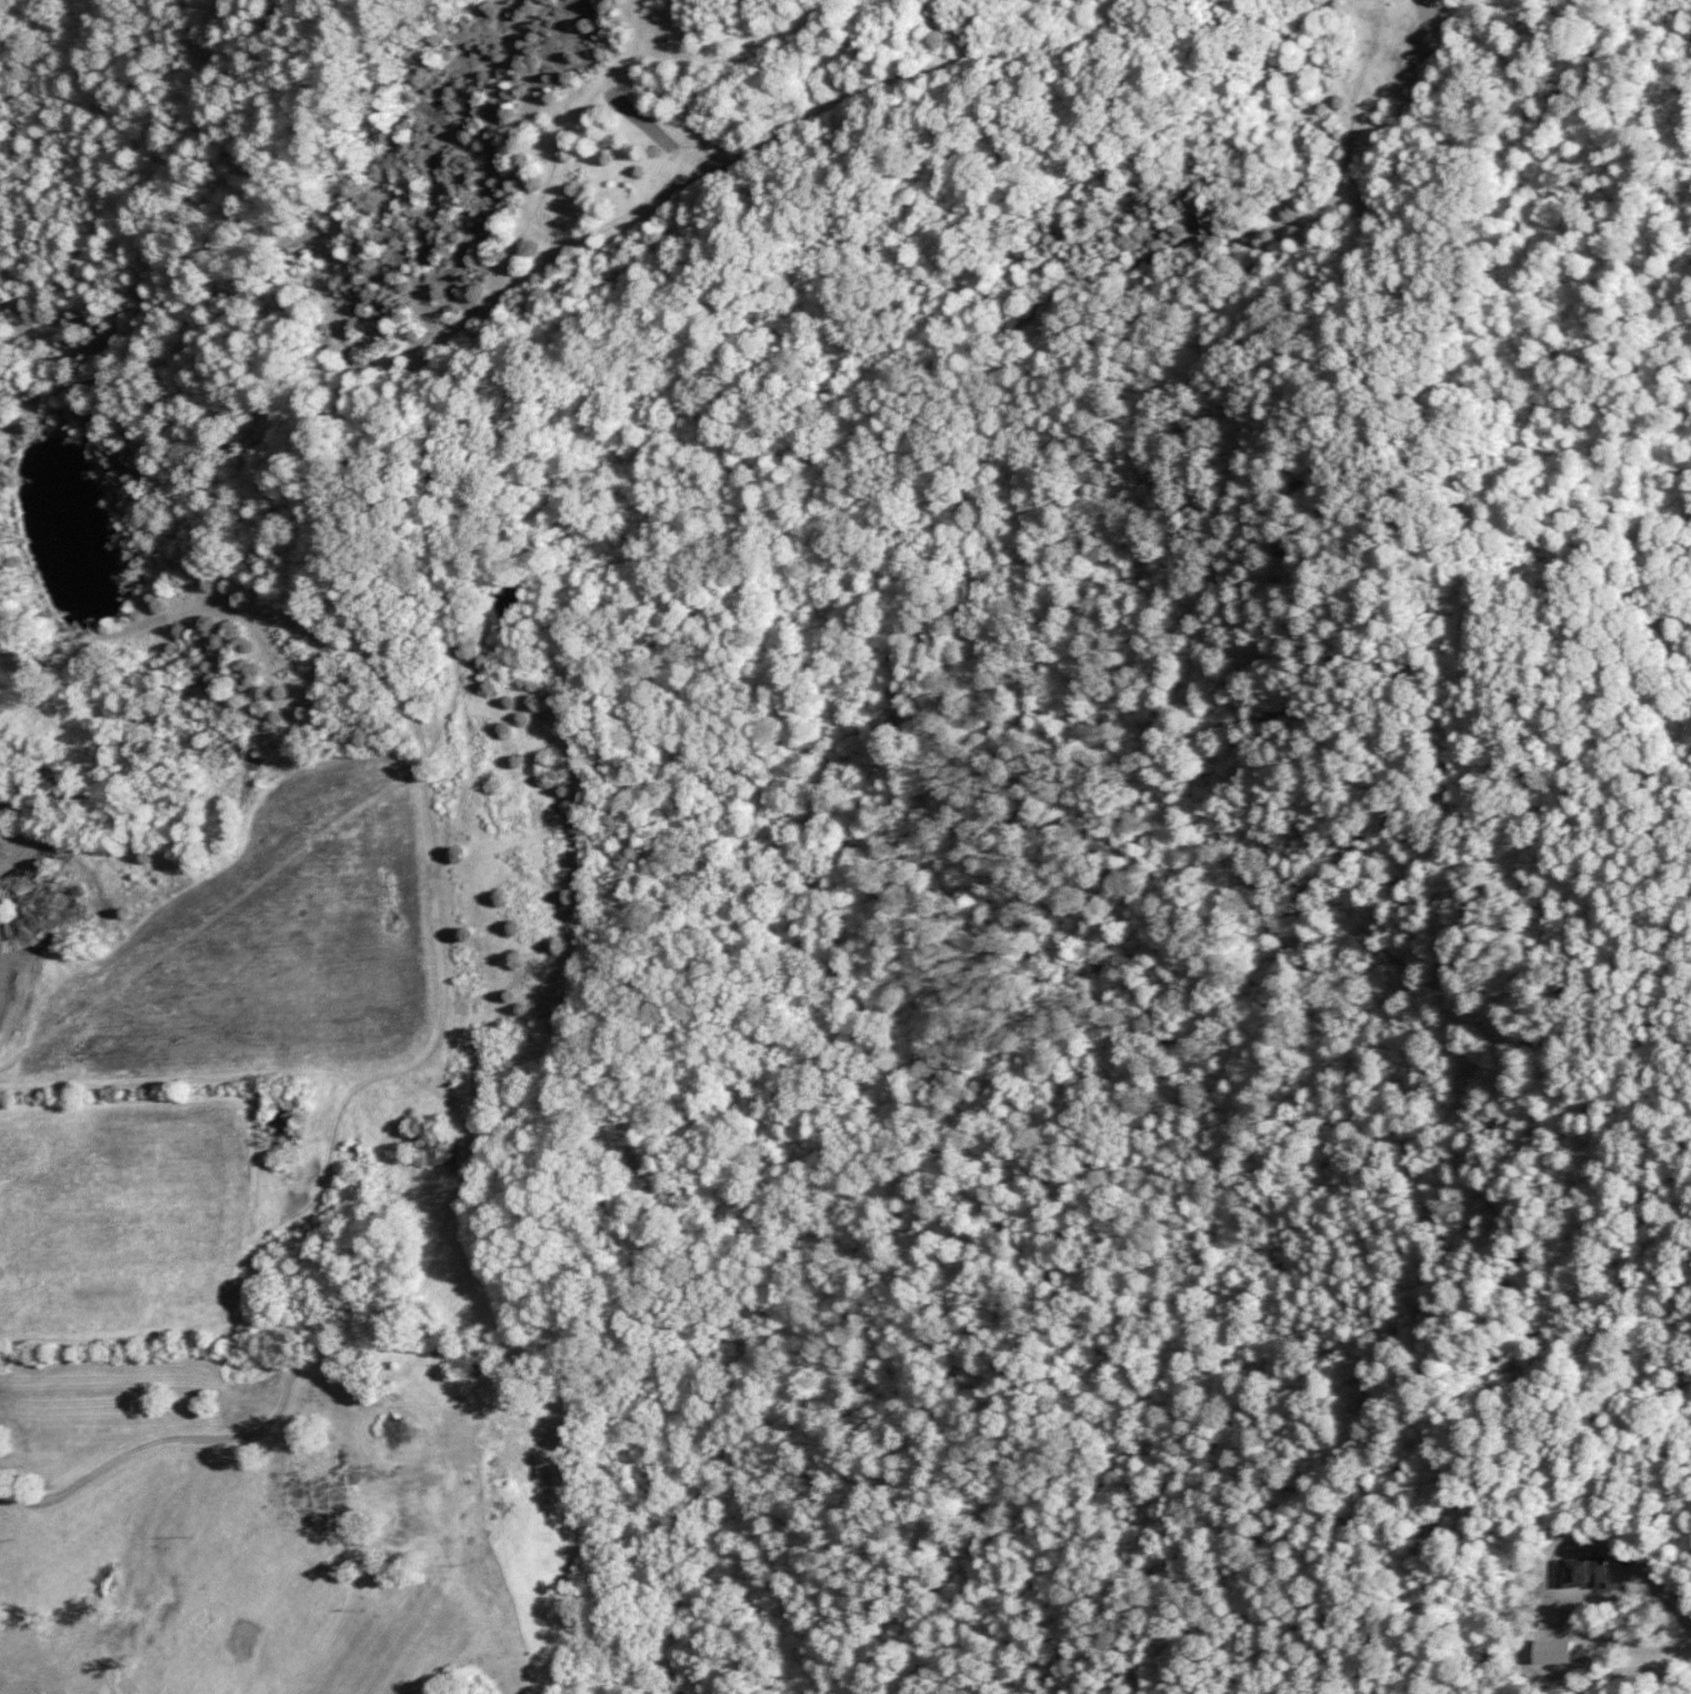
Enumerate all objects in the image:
building: (431, 1145)
building: (443, 1503)

